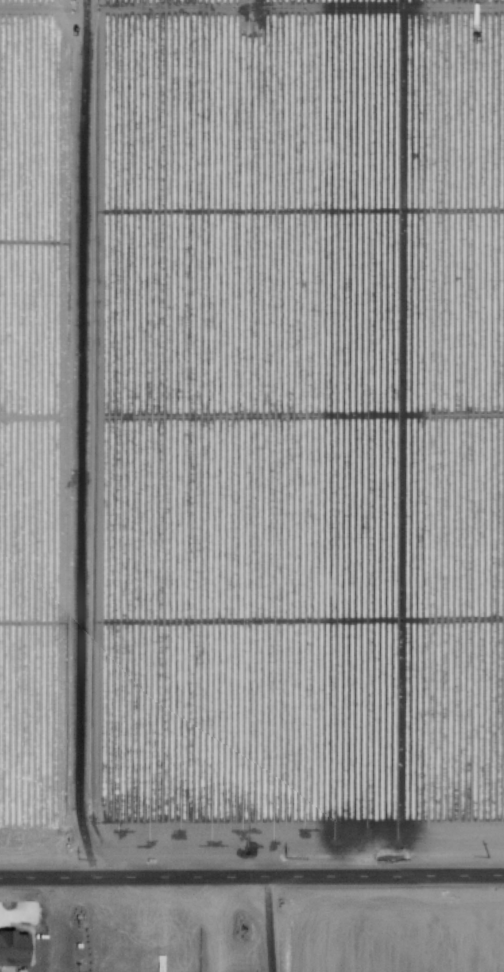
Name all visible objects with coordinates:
road: (252, 882)
building: (11, 948)

